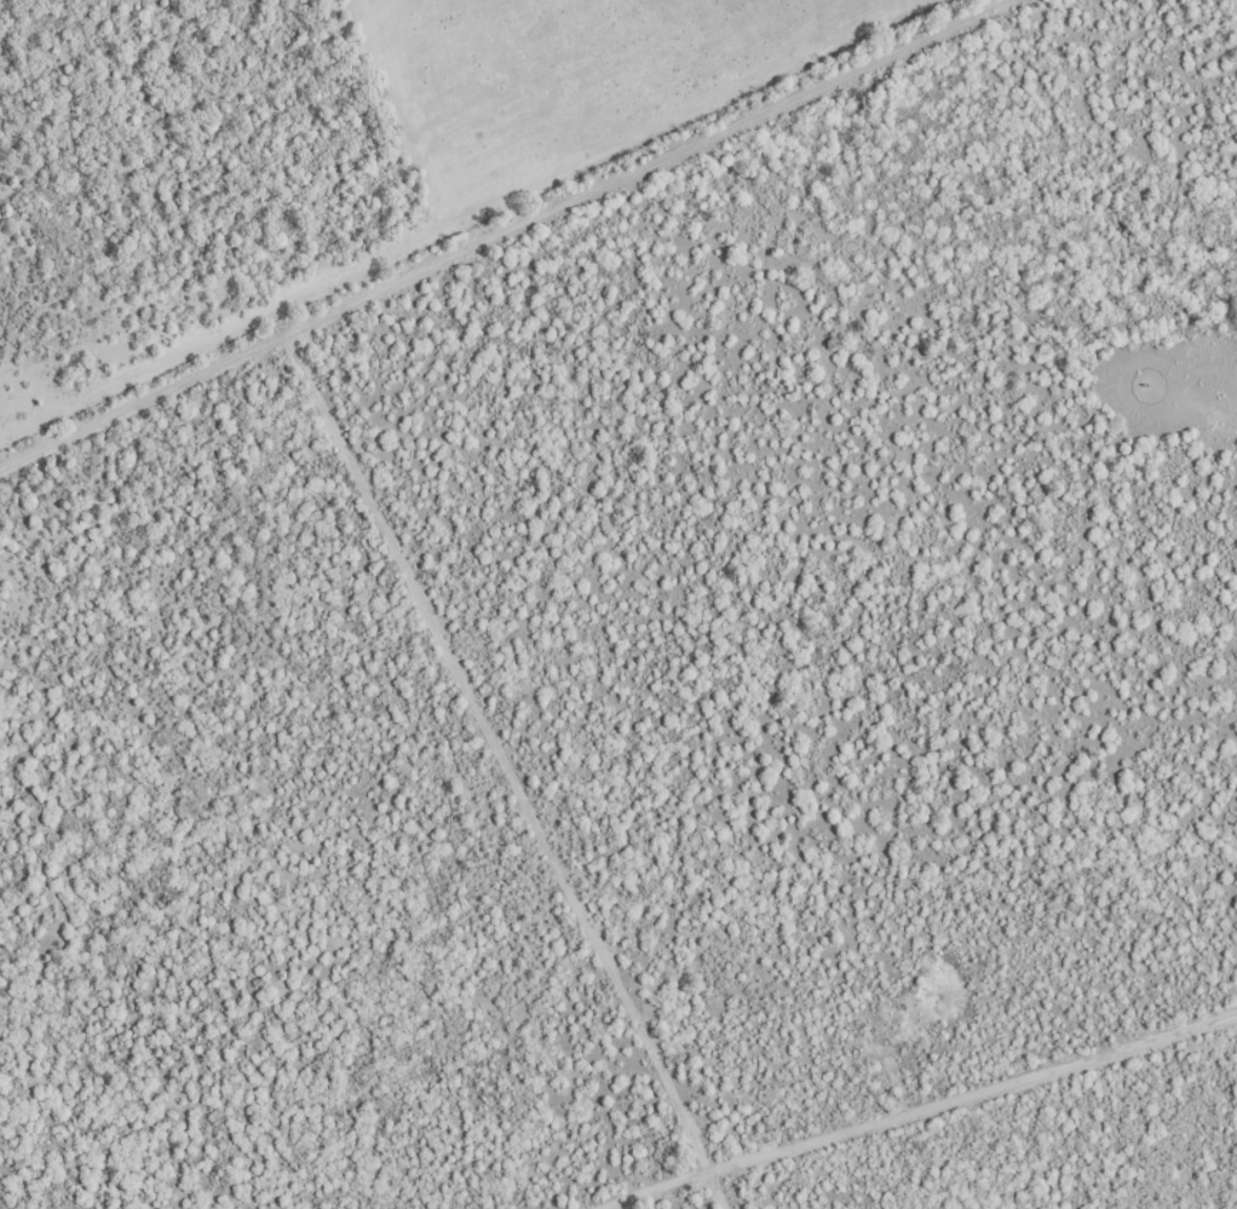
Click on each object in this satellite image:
road: (6, 464)
road: (545, 848)

